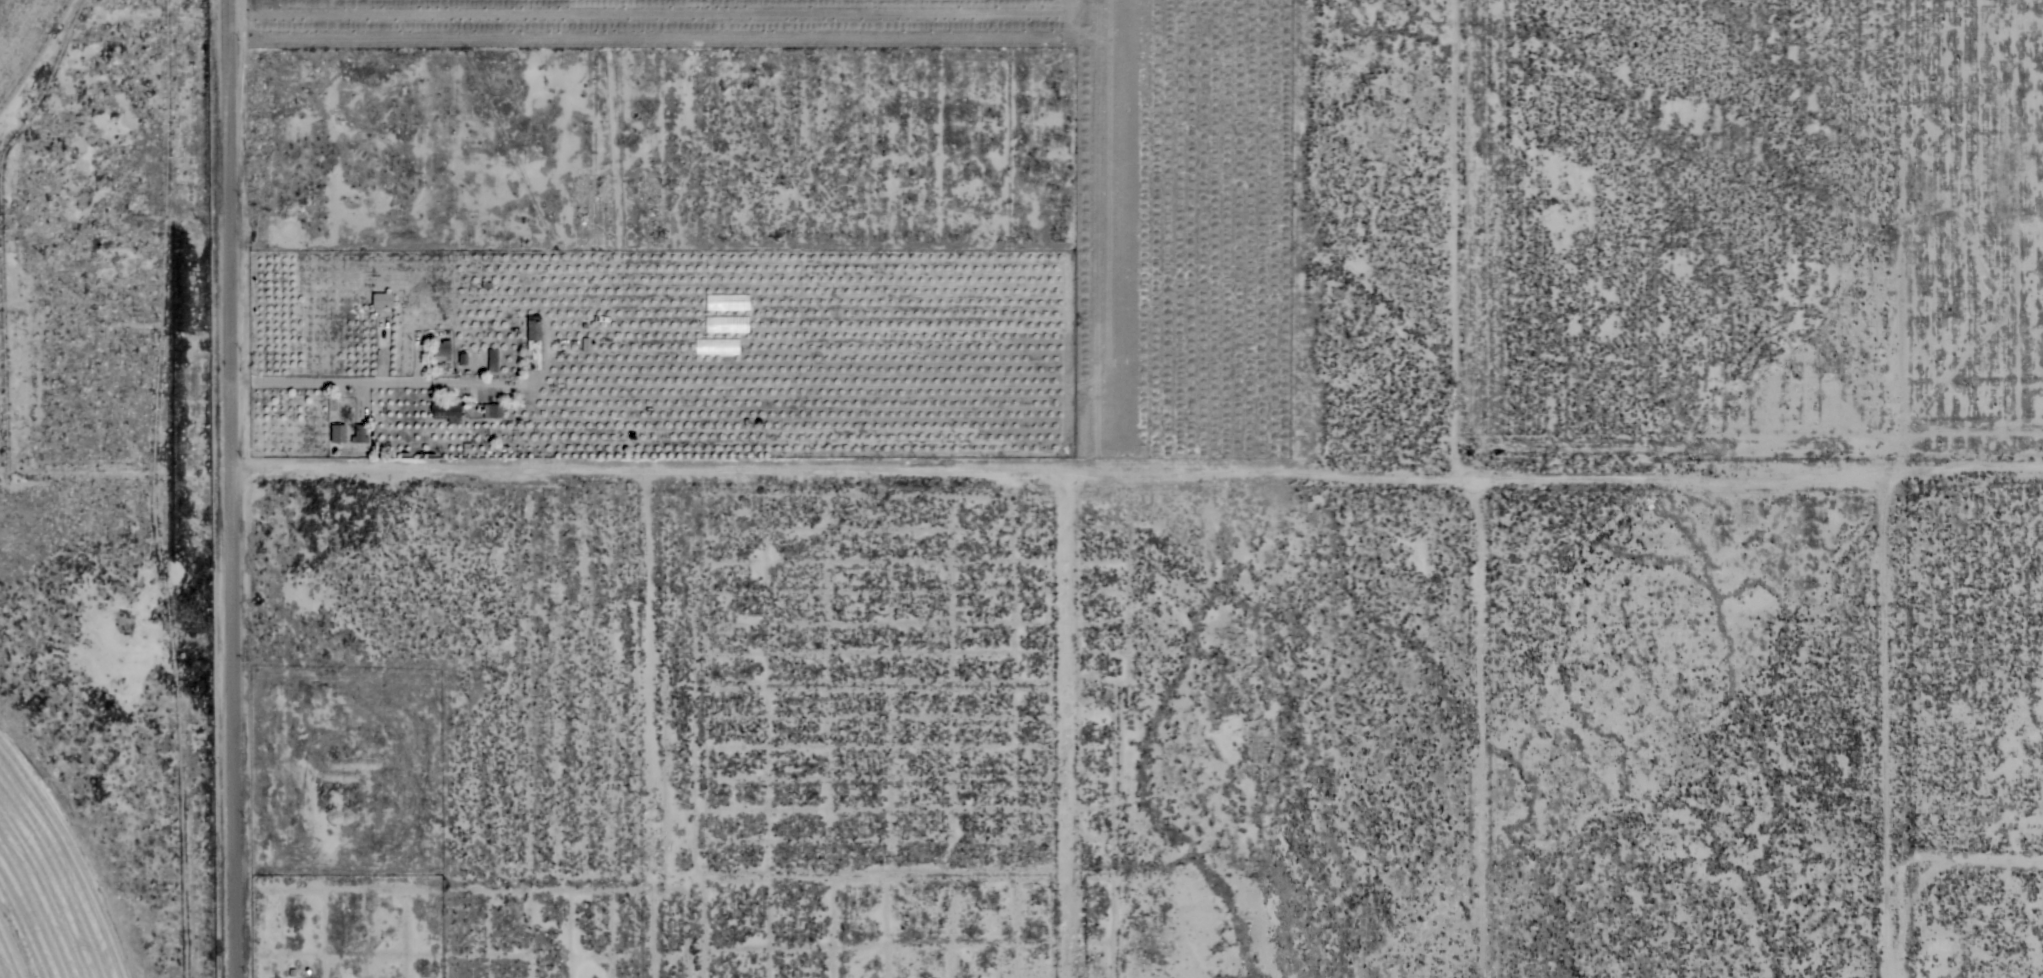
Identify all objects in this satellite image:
crop: (29, 42)
building: (381, 300)
building: (532, 342)
building: (440, 350)
building: (491, 360)
road: (368, 383)
building: (446, 409)
building: (491, 410)
building: (336, 433)
building: (357, 433)
road: (1131, 477)
road: (109, 484)
road: (218, 488)
crop: (51, 878)

